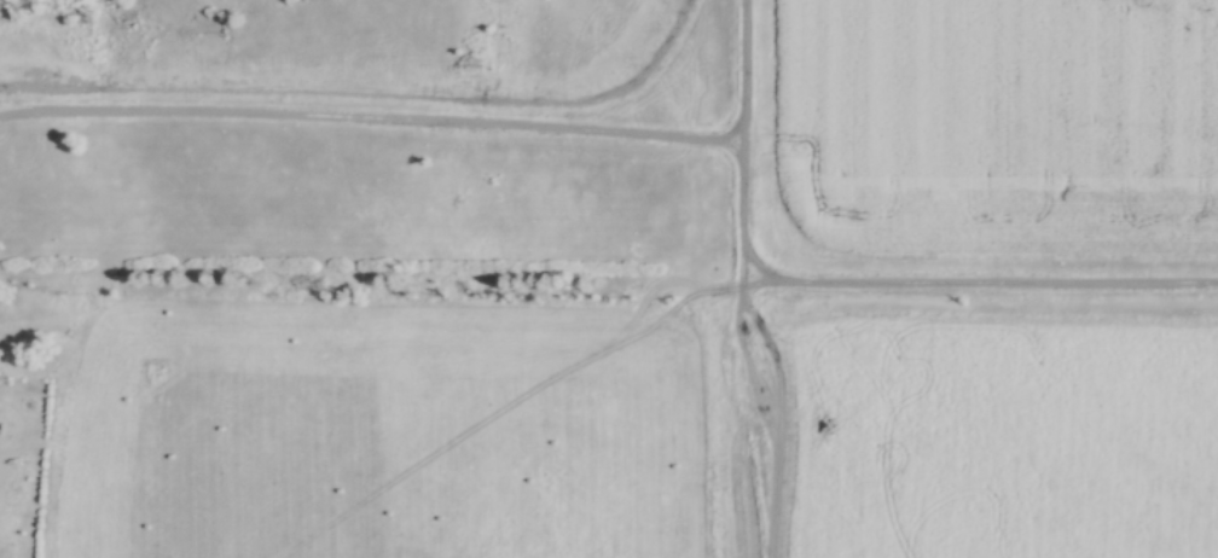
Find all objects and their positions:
road: (748, 143)
road: (982, 285)

